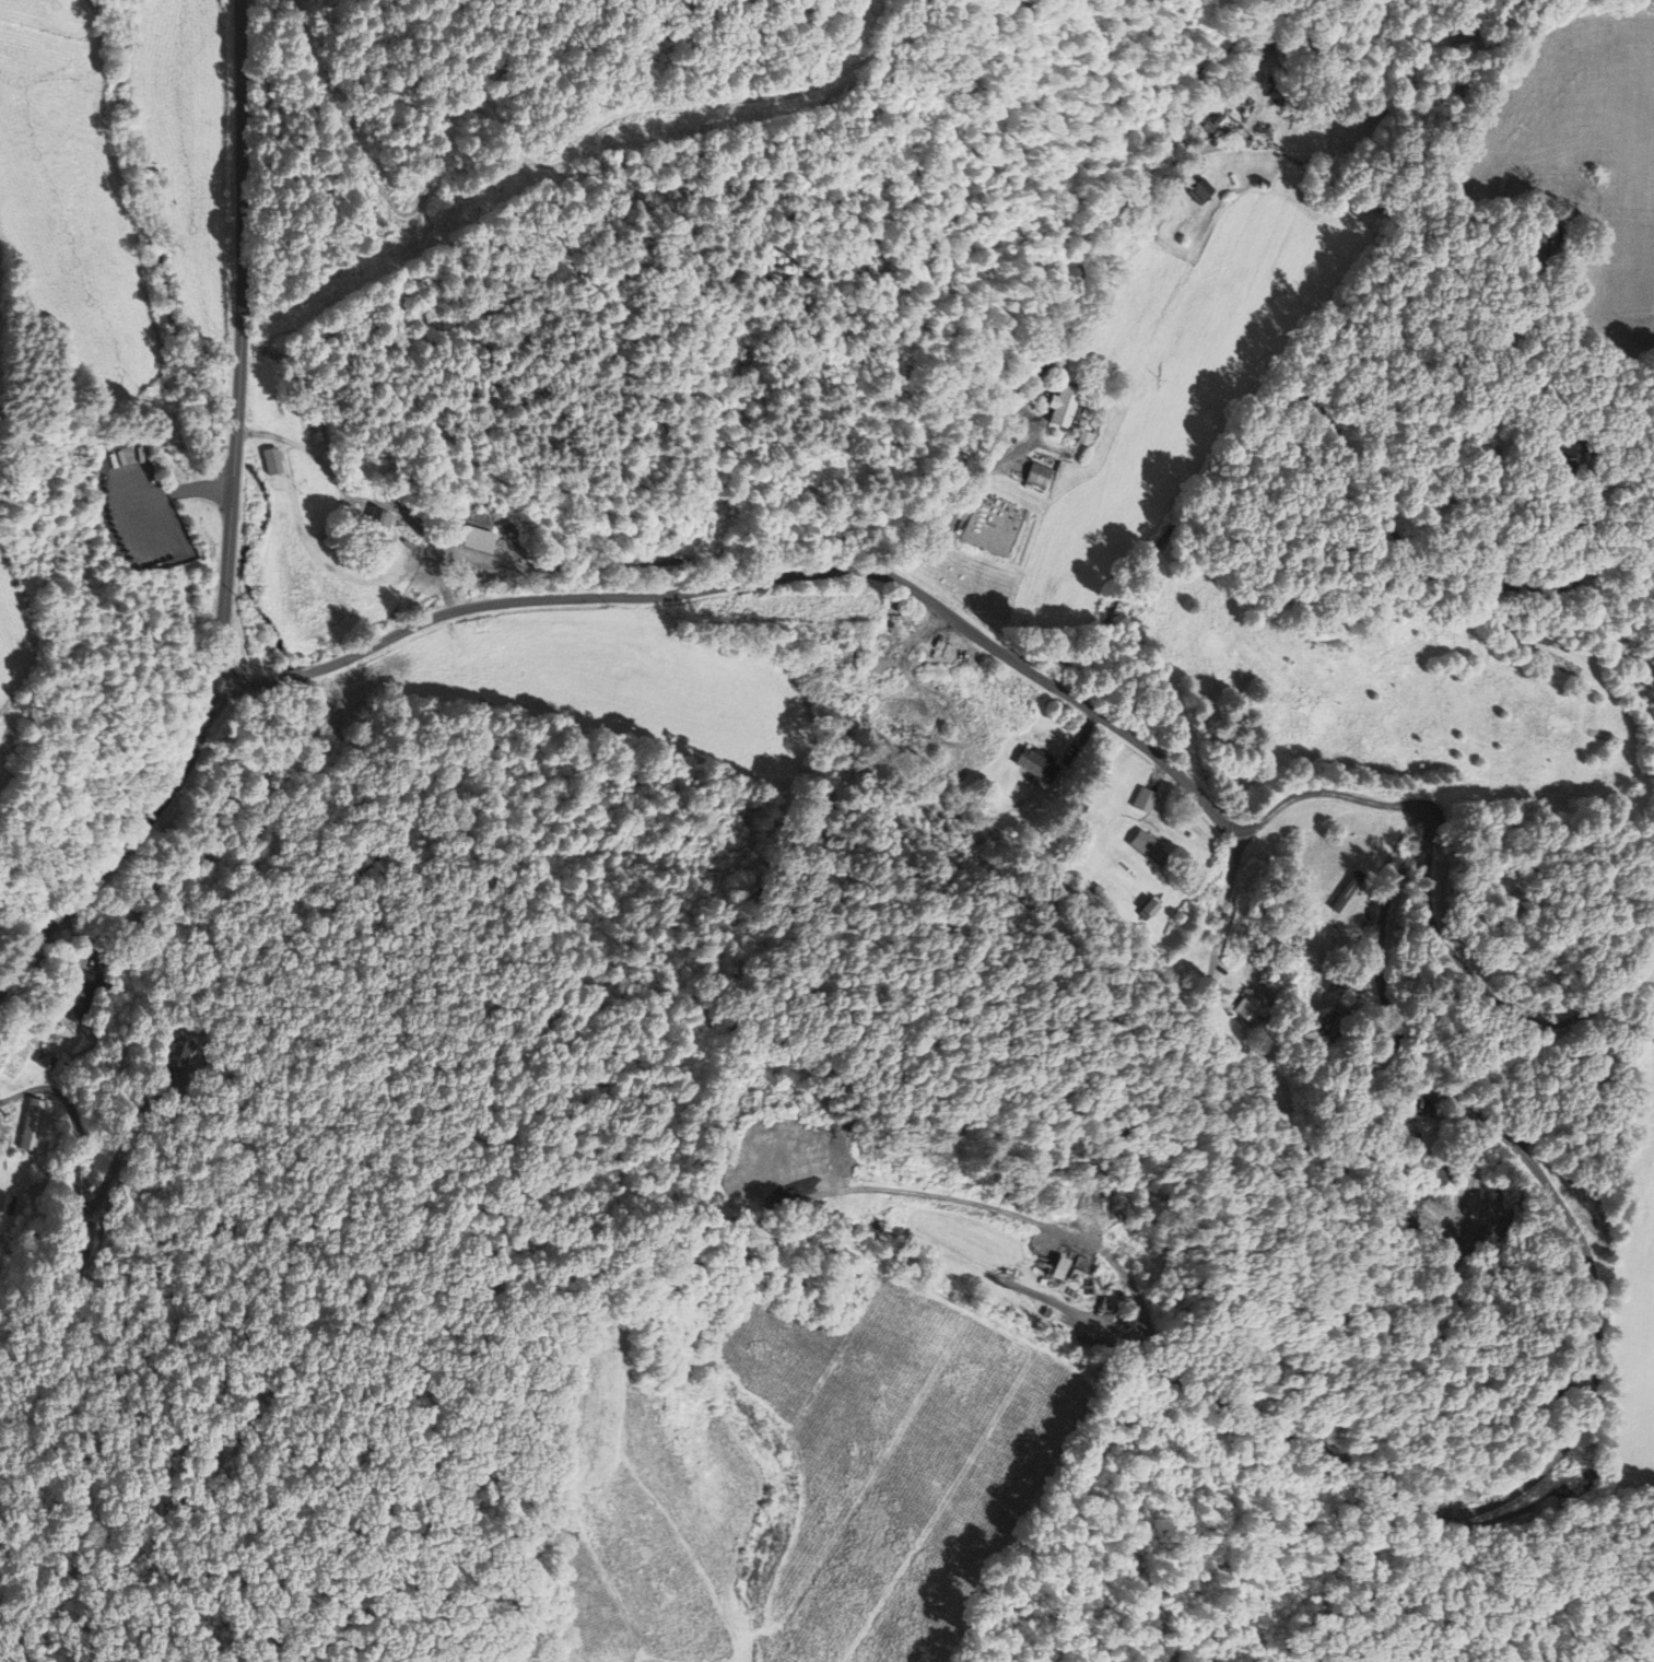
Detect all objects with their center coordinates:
building: (1264, 49)
building: (1211, 124)
road: (527, 157)
building: (1200, 191)
road: (1412, 211)
building: (1562, 239)
building: (1546, 242)
road: (1304, 397)
building: (1064, 406)
building: (1573, 453)
building: (270, 460)
building: (1036, 475)
building: (375, 527)
road: (230, 530)
building: (1513, 633)
road: (294, 675)
road: (251, 682)
building: (1033, 765)
building: (1142, 800)
building: (1147, 850)
road: (1376, 887)
building: (1349, 890)
road: (1229, 894)
road: (1451, 948)
building: (83, 998)
building: (1245, 1009)
building: (1336, 1029)
building: (177, 1050)
building: (44, 1060)
building: (32, 1125)
building: (1427, 1135)
road: (75, 1193)
building: (7, 1204)

